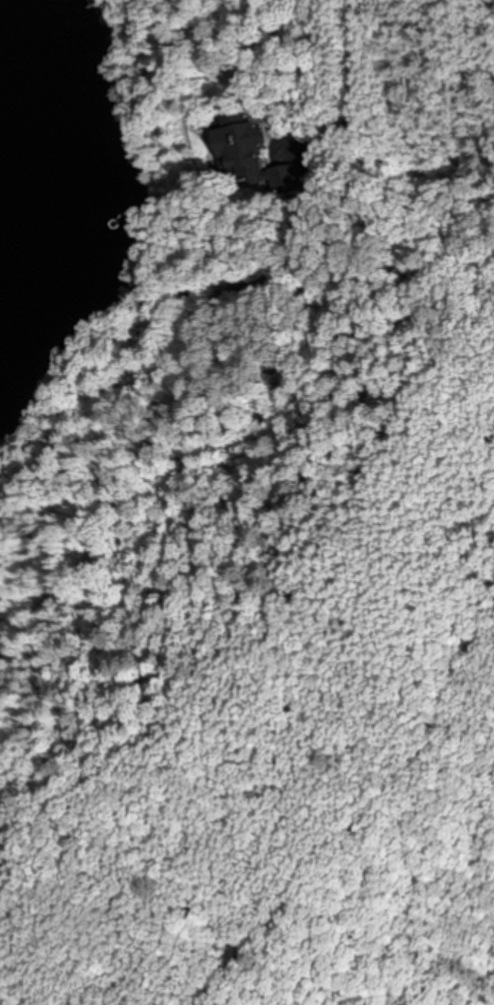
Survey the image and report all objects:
road: (354, 91)
building: (287, 104)
building: (254, 149)
building: (312, 231)

